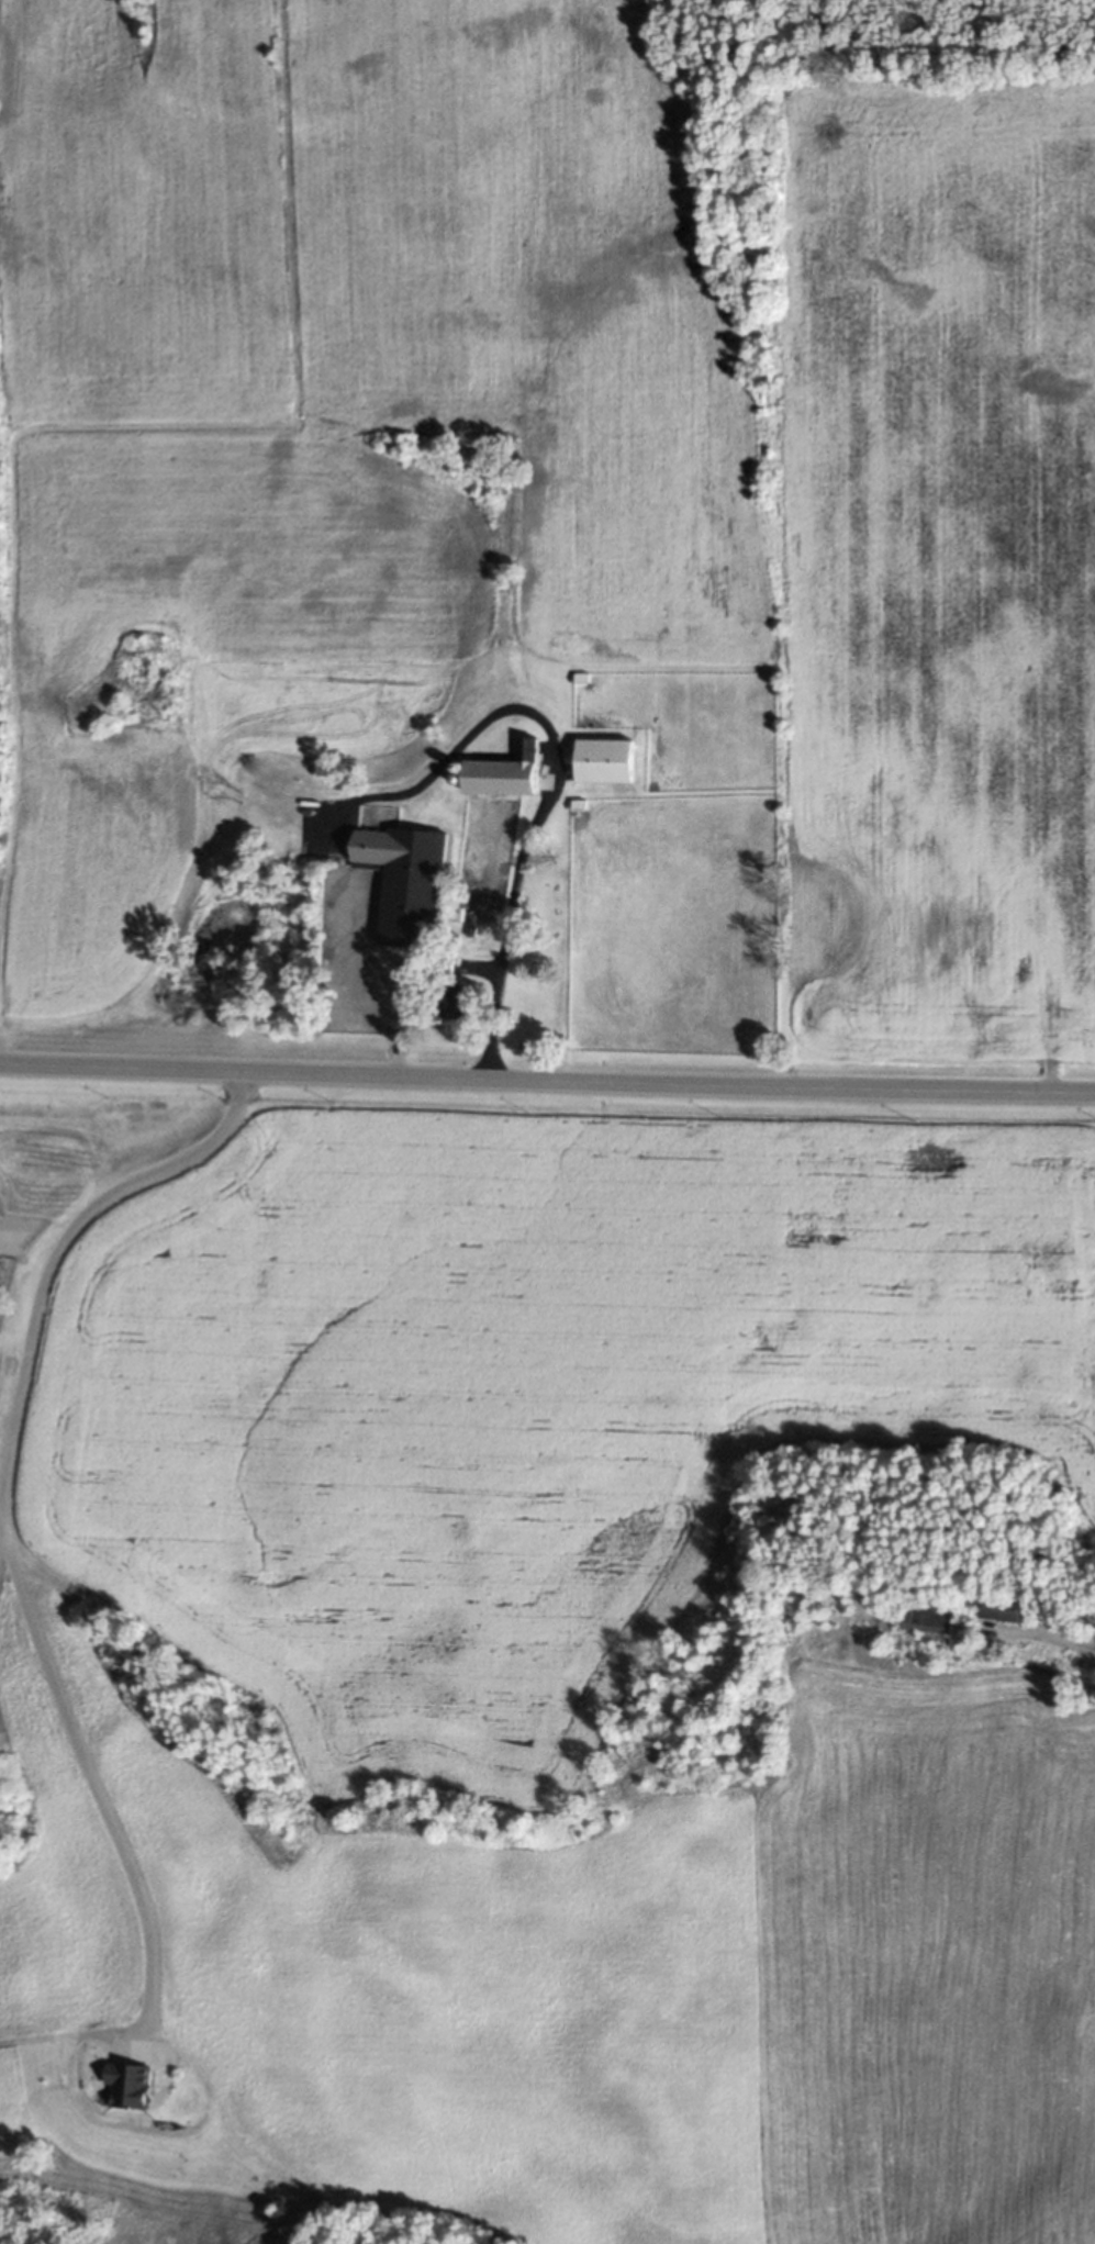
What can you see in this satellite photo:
building: (602, 761)
building: (500, 773)
road: (550, 779)
building: (403, 883)
building: (454, 1000)
road: (547, 1078)
road: (54, 1249)
building: (10, 1307)
building: (999, 1608)
building: (928, 1619)
road: (1064, 1642)
road: (86, 1775)
building: (125, 2084)

